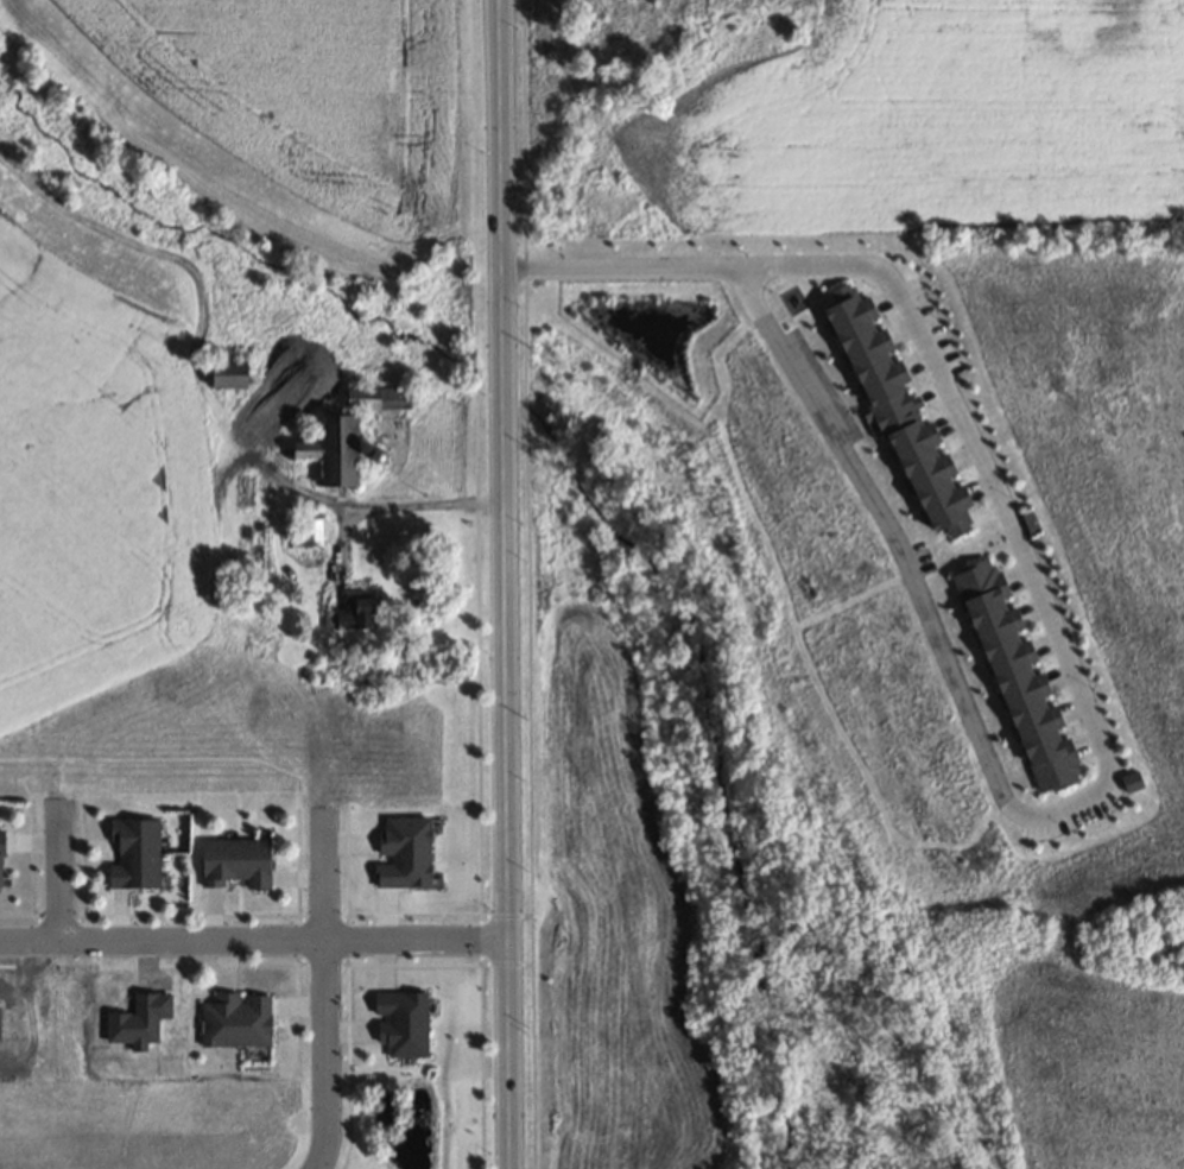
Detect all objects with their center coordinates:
crop: (240, 121)
building: (226, 374)
building: (375, 399)
building: (330, 451)
building: (310, 531)
road: (508, 583)
building: (353, 613)
road: (1005, 796)
building: (0, 839)
building: (133, 853)
building: (233, 861)
road: (57, 873)
road: (257, 941)
road: (324, 993)
building: (234, 1019)

